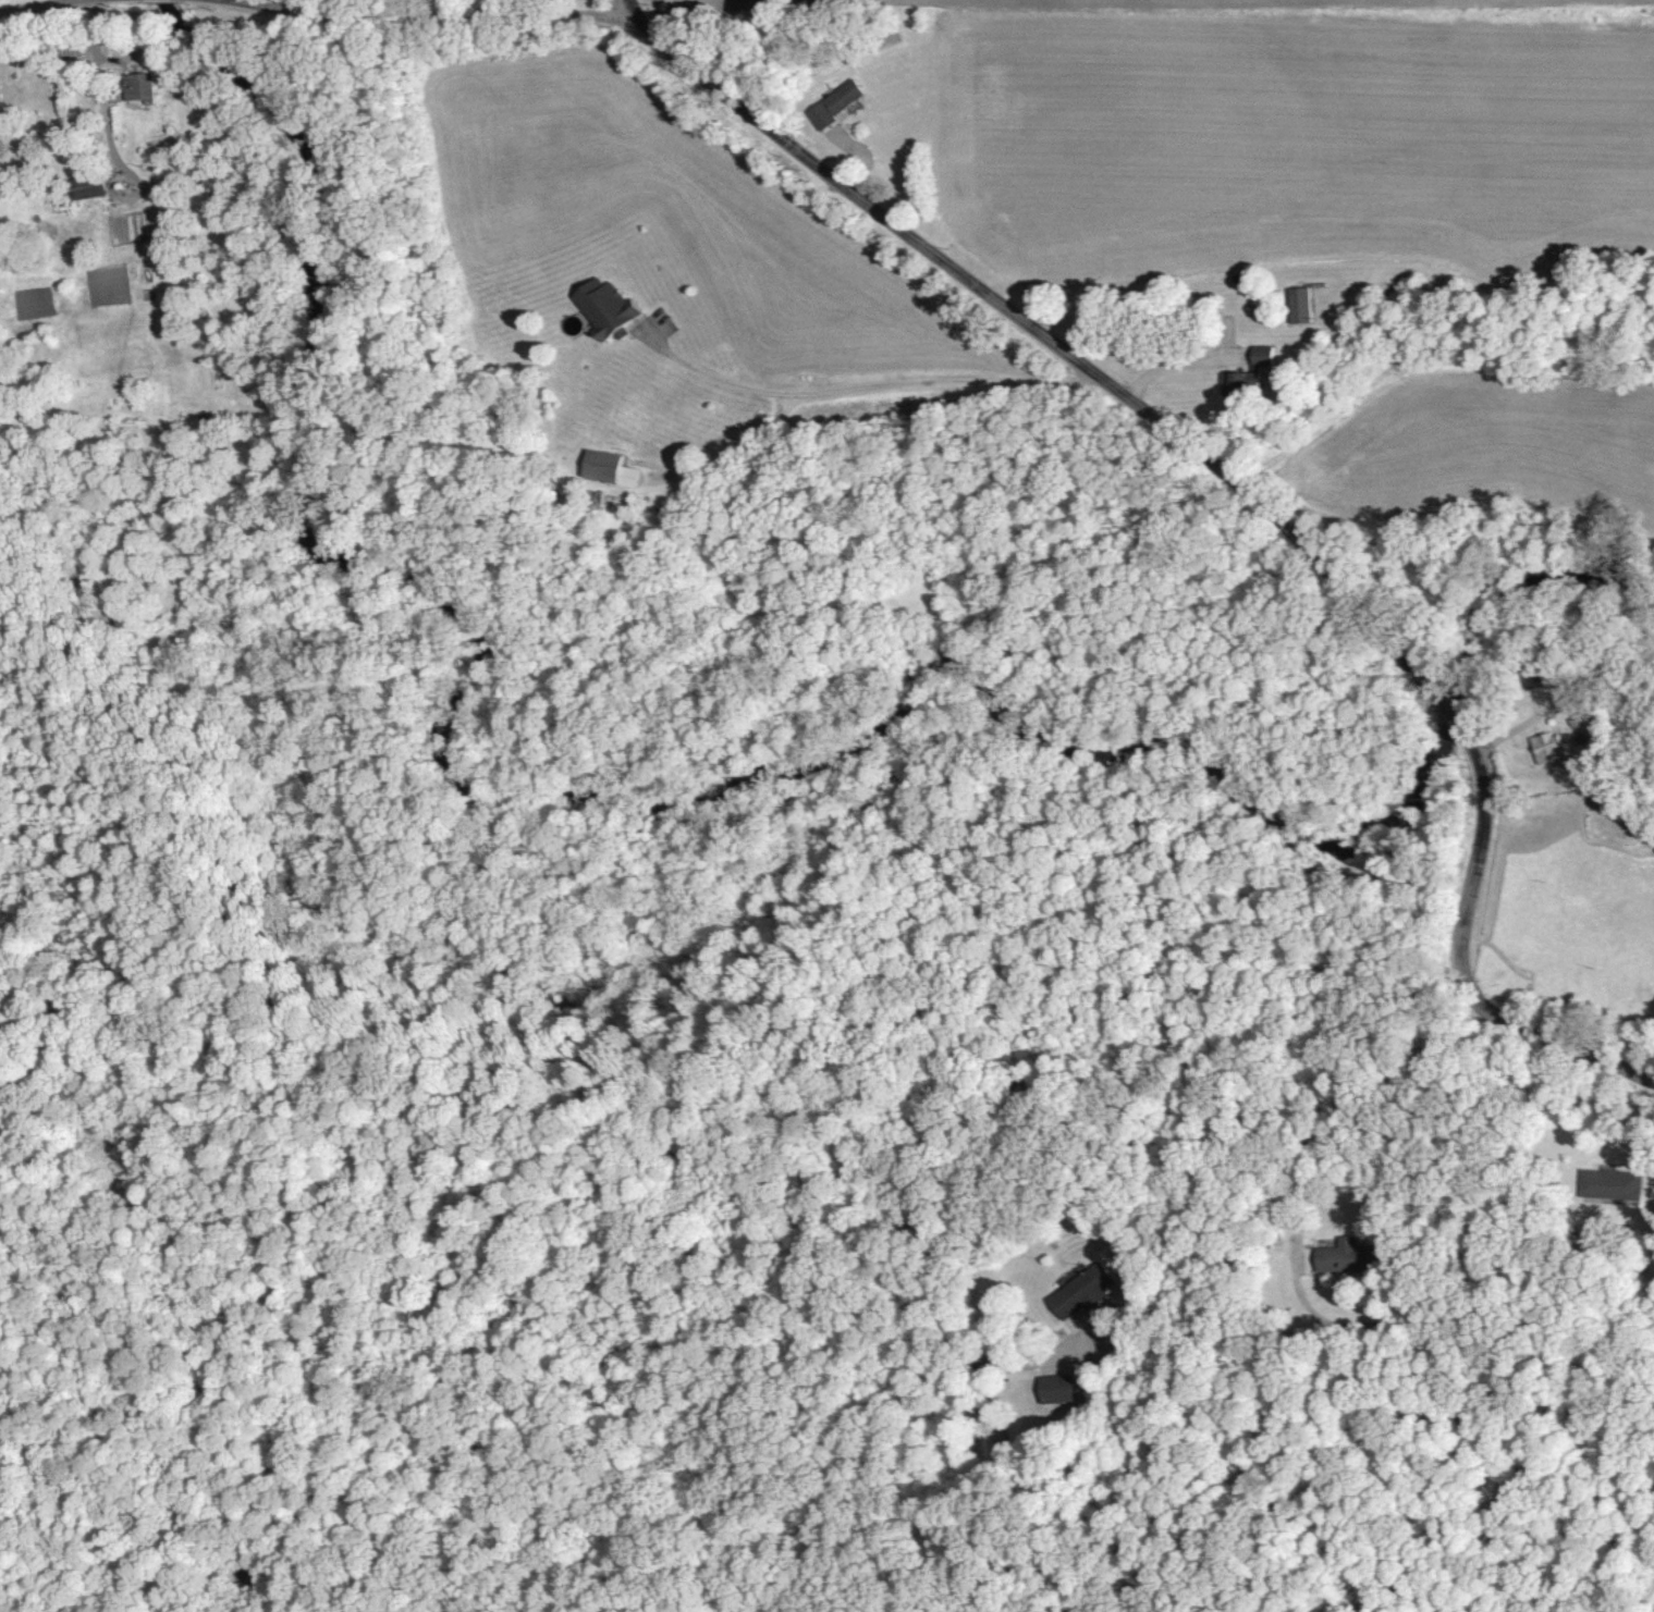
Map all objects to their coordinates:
road: (35, 5)
road: (432, 14)
building: (134, 85)
building: (831, 103)
building: (83, 185)
building: (1296, 304)
building: (602, 307)
road: (1043, 335)
road: (853, 371)
building: (1243, 373)
building: (604, 468)
building: (1531, 678)
road: (1457, 723)
building: (1544, 747)
road: (1468, 970)
road: (1283, 1059)
building: (1607, 1183)
building: (1343, 1256)
building: (1078, 1290)
building: (1053, 1388)

